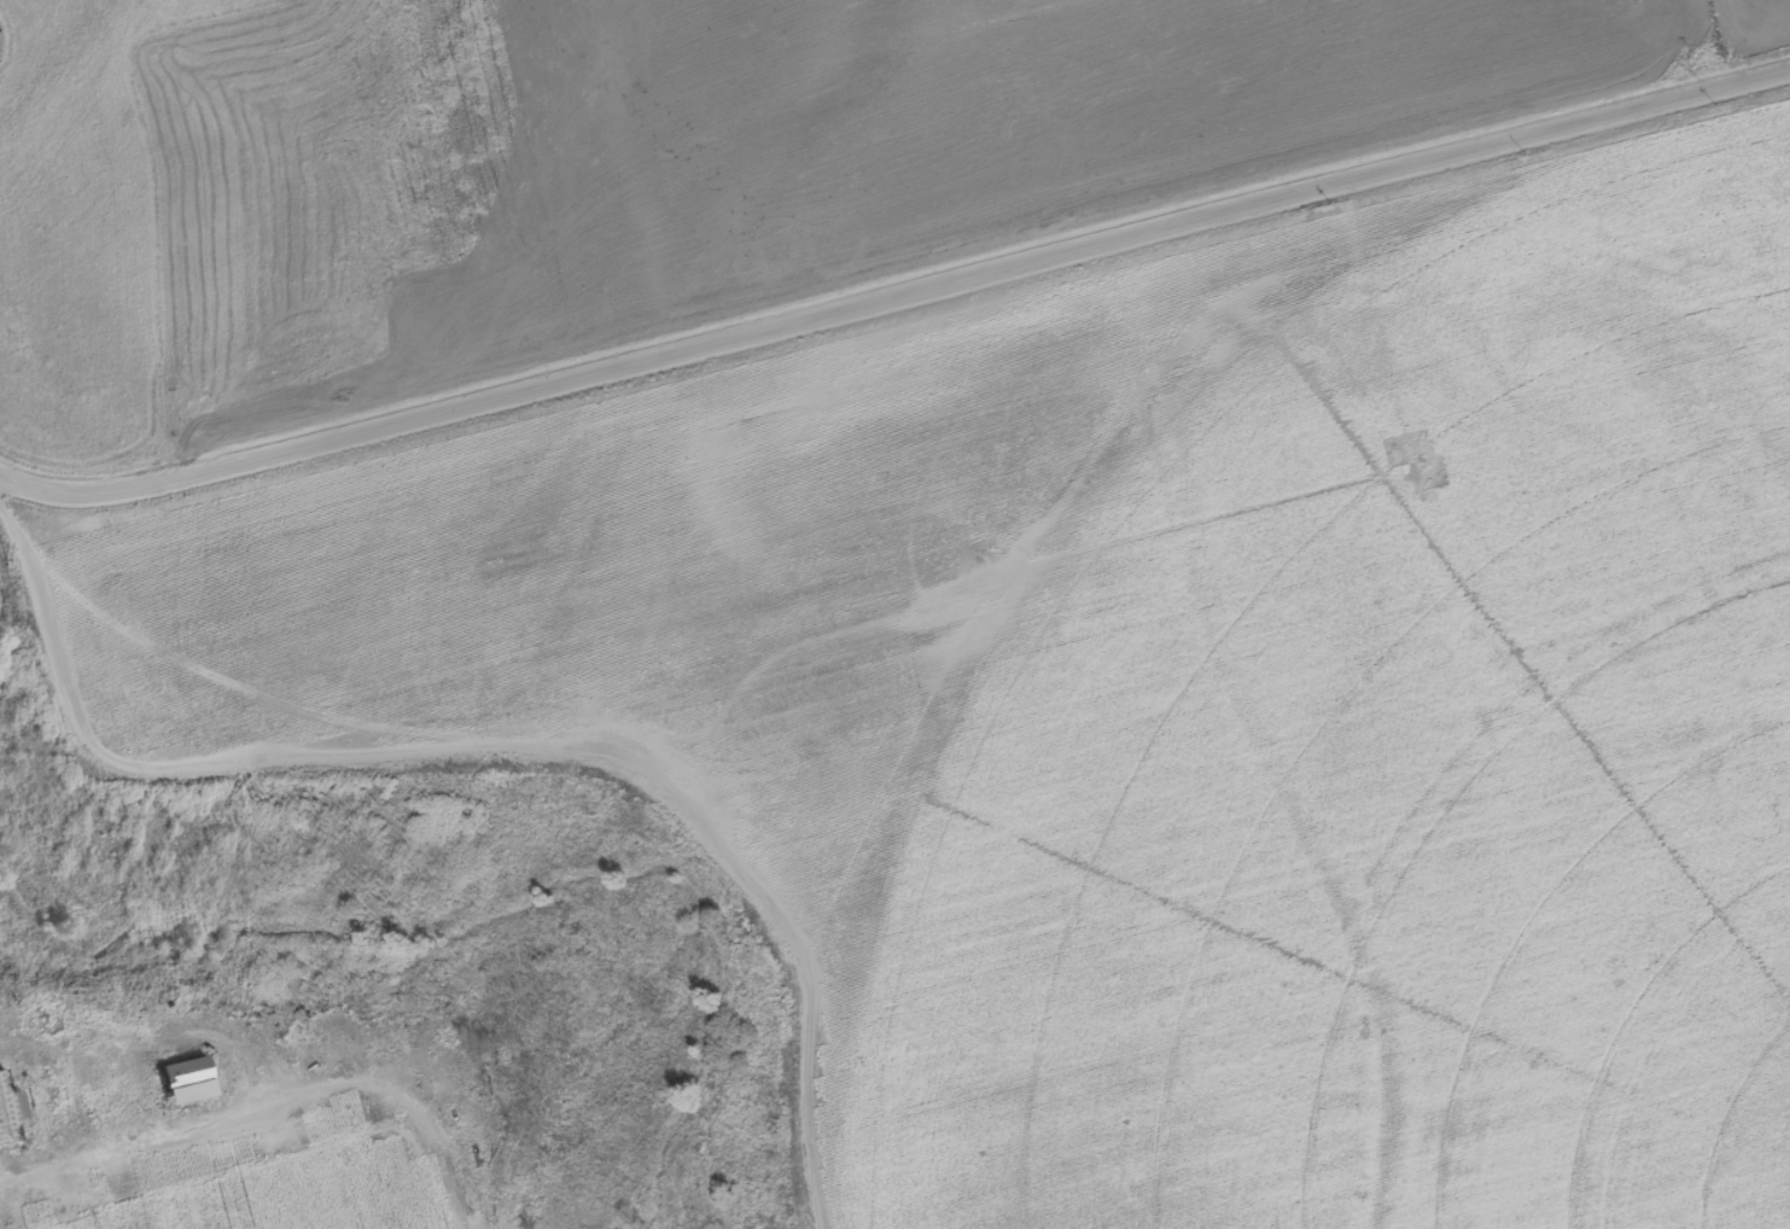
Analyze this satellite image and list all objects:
road: (894, 292)
road: (492, 744)
building: (181, 1081)
building: (11, 1100)

